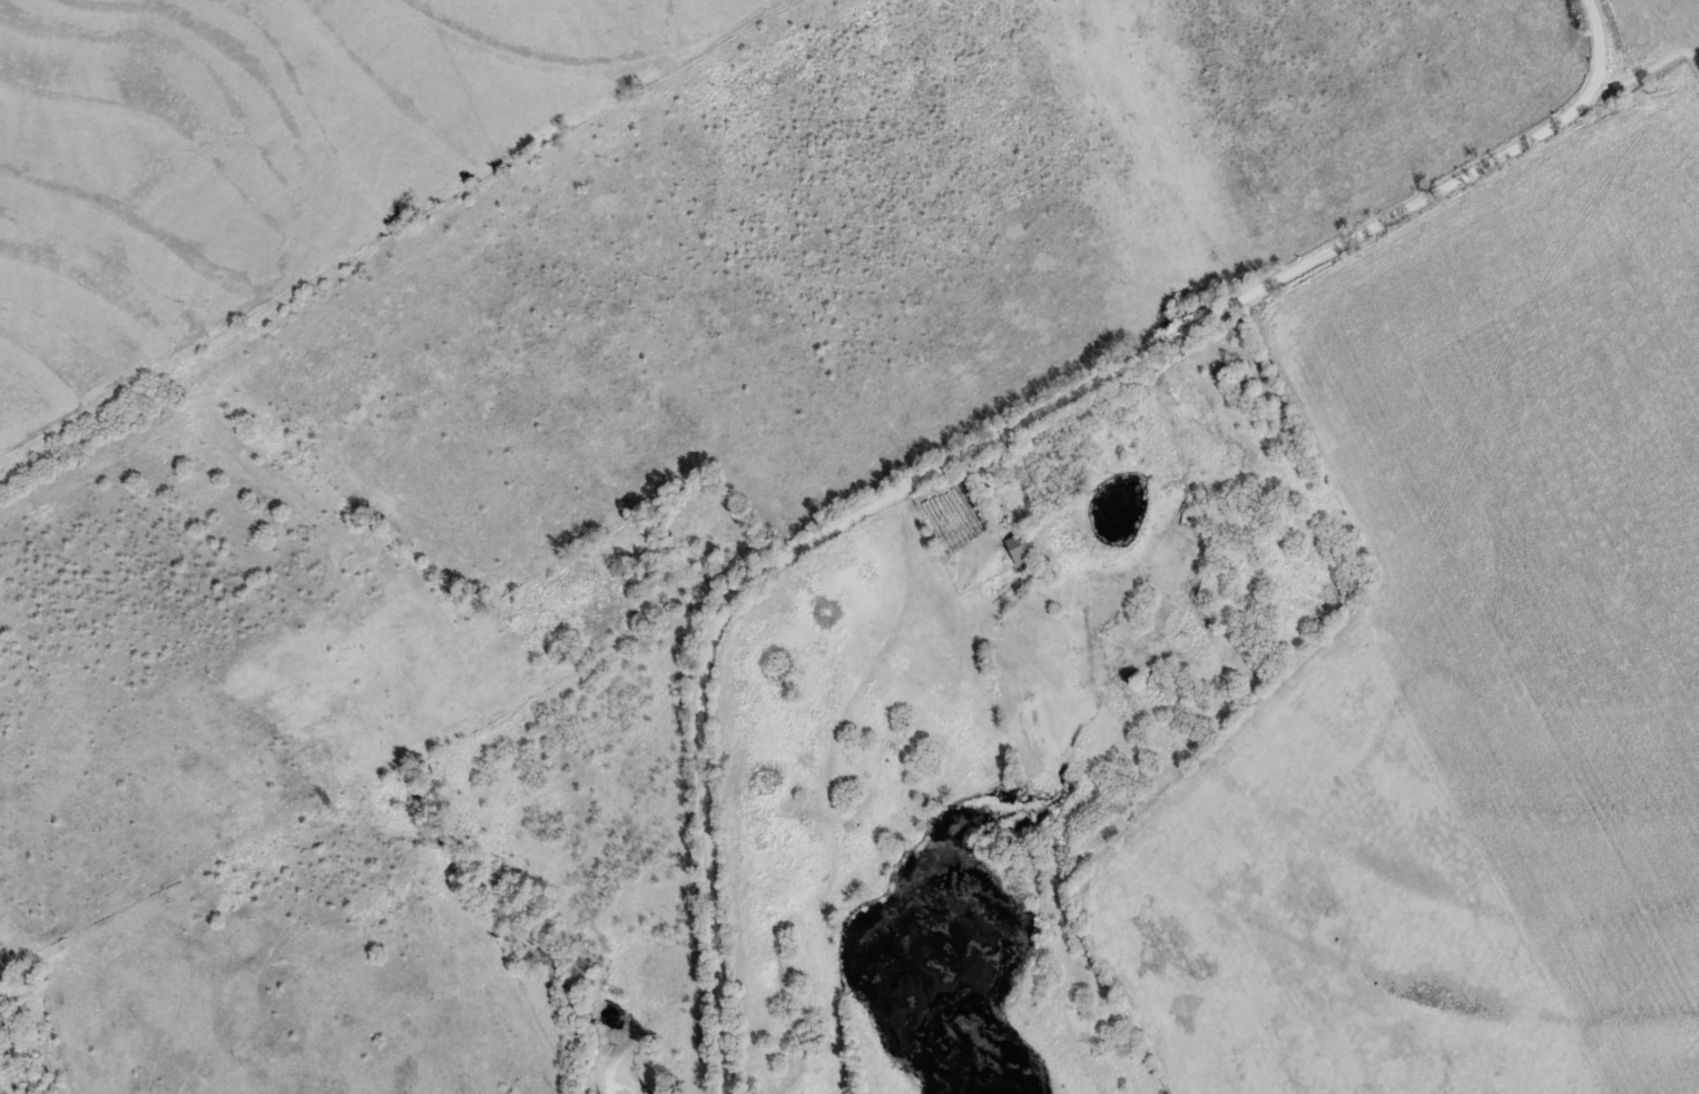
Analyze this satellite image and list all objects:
road: (1647, 86)
road: (980, 441)
building: (1017, 548)
road: (682, 571)

